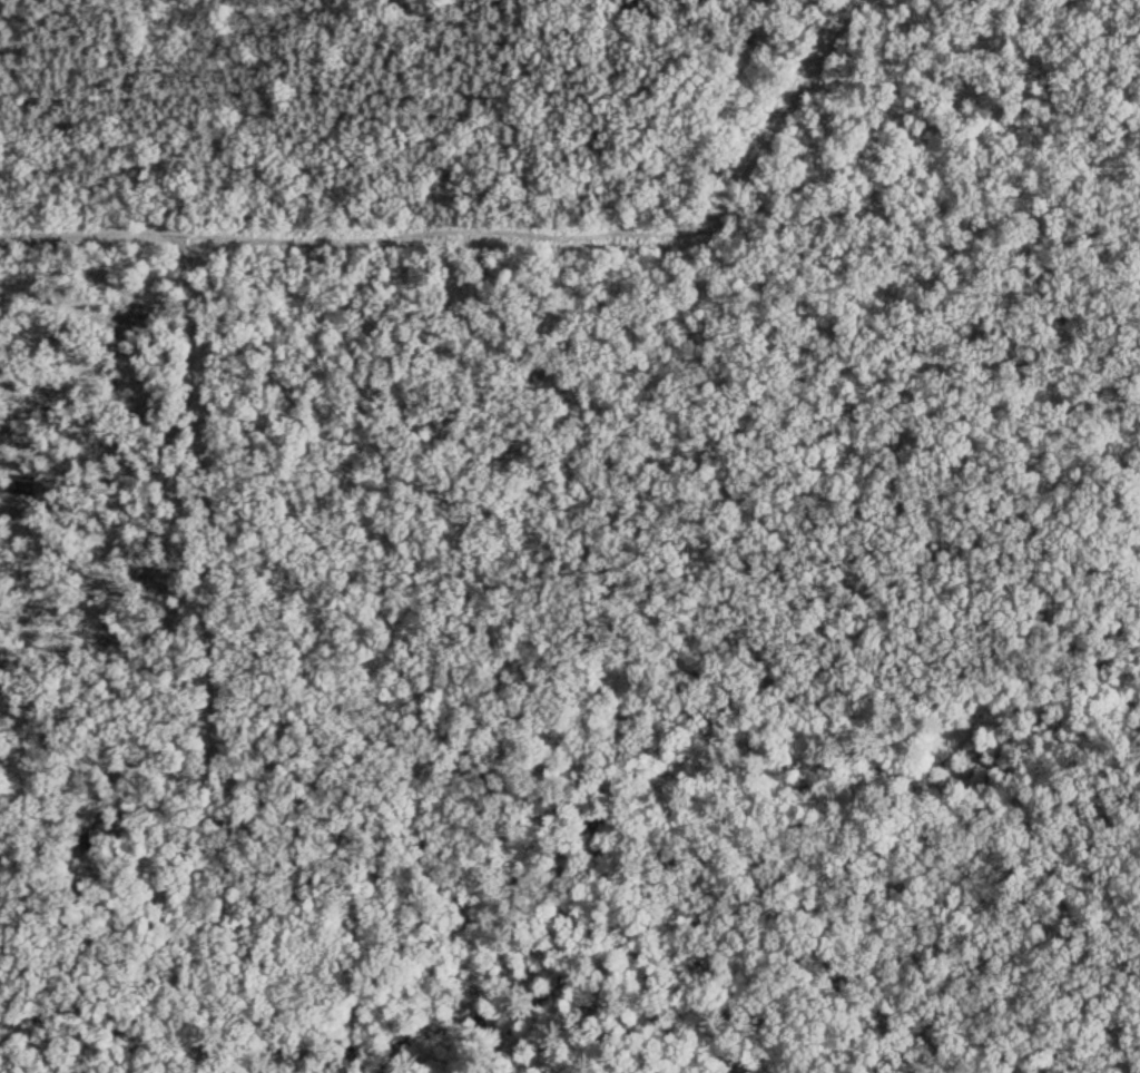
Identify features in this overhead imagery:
road: (92, 240)
road: (183, 594)

